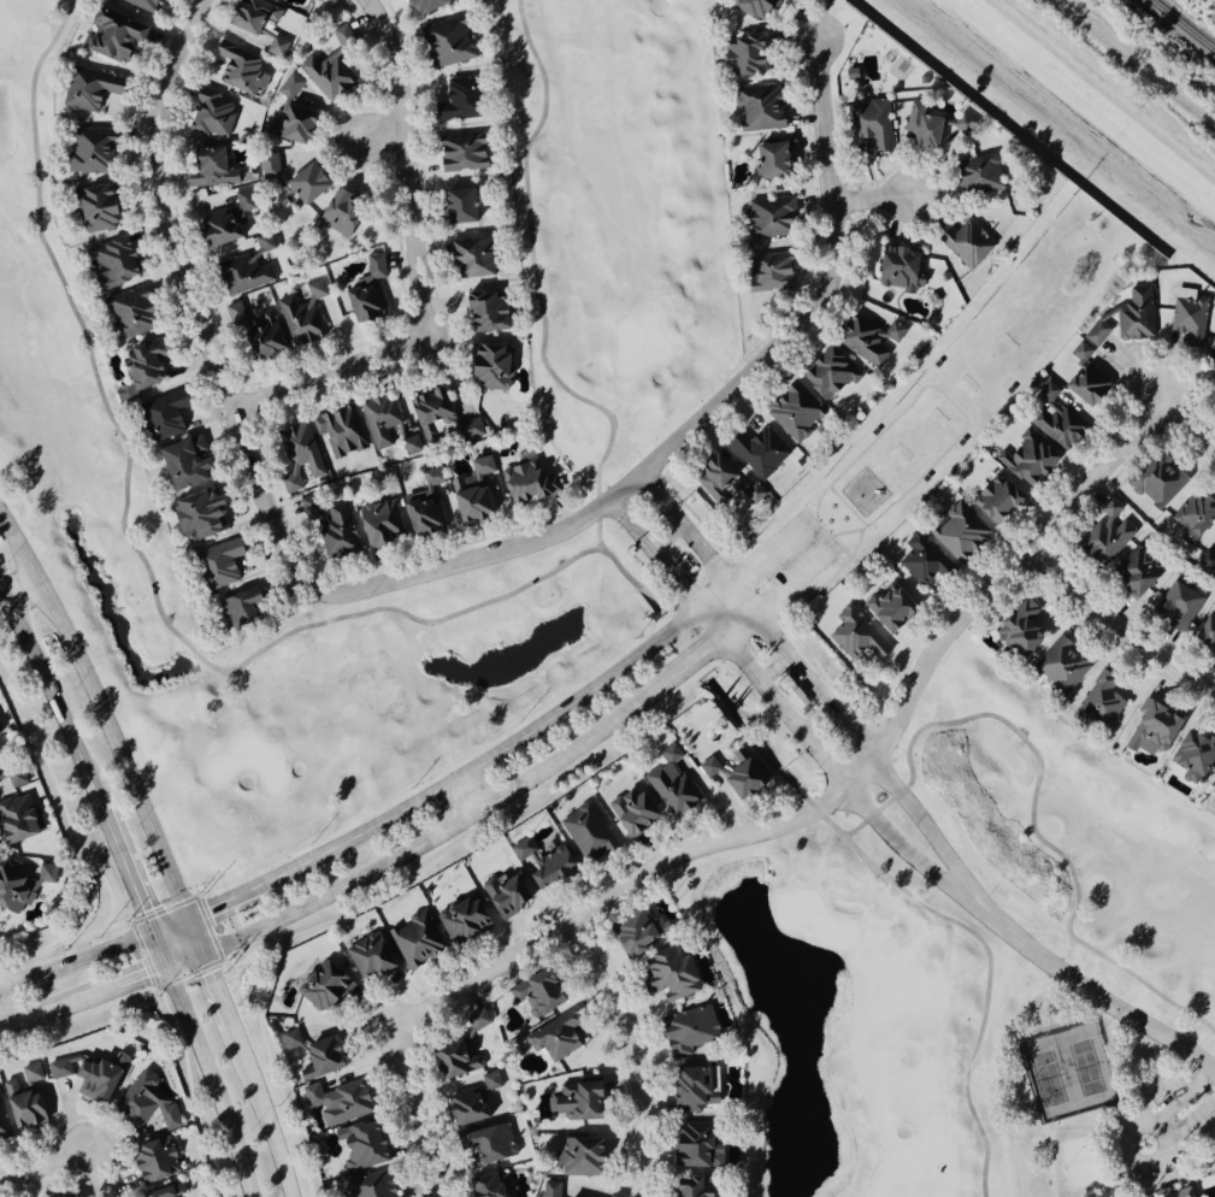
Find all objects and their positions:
building: (270, 0)
building: (137, 4)
building: (421, 6)
building: (749, 7)
building: (249, 19)
railway: (1181, 26)
building: (110, 36)
building: (341, 36)
building: (446, 43)
building: (277, 47)
building: (742, 55)
railway: (1134, 64)
building: (236, 69)
building: (326, 75)
building: (289, 87)
building: (87, 90)
building: (452, 100)
building: (759, 108)
building: (208, 114)
building: (960, 124)
building: (289, 125)
building: (869, 125)
building: (918, 128)
road: (383, 147)
building: (85, 152)
building: (459, 154)
building: (768, 161)
building: (269, 167)
building: (207, 170)
building: (977, 176)
building: (305, 185)
road: (872, 197)
building: (455, 206)
building: (94, 210)
building: (336, 213)
building: (767, 219)
building: (223, 222)
building: (966, 243)
building: (467, 259)
building: (110, 263)
road: (418, 267)
building: (243, 270)
building: (897, 270)
building: (767, 273)
building: (367, 293)
road: (828, 295)
building: (301, 313)
building: (479, 313)
building: (129, 314)
building: (1187, 317)
building: (1121, 318)
building: (253, 330)
park: (1011, 340)
building: (867, 341)
building: (1079, 353)
building: (1210, 361)
building: (937, 362)
building: (486, 367)
building: (138, 368)
building: (825, 372)
building: (1084, 387)
building: (1010, 389)
park: (942, 401)
road: (950, 401)
building: (427, 406)
building: (791, 412)
building: (160, 415)
building: (381, 420)
building: (1056, 425)
road: (1190, 427)
building: (340, 430)
building: (874, 431)
building: (417, 440)
park: (916, 440)
building: (961, 442)
building: (759, 452)
building: (299, 456)
building: (1025, 459)
building: (181, 461)
building: (480, 466)
road: (252, 470)
building: (925, 478)
building: (714, 479)
building: (1155, 480)
building: (521, 482)
building: (467, 500)
road: (661, 500)
building: (995, 500)
road: (816, 502)
building: (423, 505)
road: (847, 506)
building: (195, 514)
road: (807, 515)
building: (378, 523)
road: (808, 523)
building: (330, 524)
road: (630, 525)
road: (863, 527)
building: (1193, 529)
road: (820, 530)
road: (843, 532)
building: (959, 532)
building: (1103, 535)
road: (667, 539)
road: (833, 544)
road: (831, 547)
road: (771, 555)
parking lot: (794, 555)
building: (922, 560)
building: (216, 564)
building: (1134, 572)
road: (838, 574)
road: (631, 578)
road: (791, 579)
road: (23, 588)
road: (738, 589)
building: (886, 606)
building: (237, 607)
building: (1176, 607)
road: (704, 617)
road: (343, 619)
road: (738, 623)
building: (1016, 630)
road: (1117, 632)
building: (854, 635)
building: (1205, 635)
park: (611, 637)
road: (695, 659)
building: (1060, 666)
road: (775, 667)
road: (816, 685)
road: (720, 690)
road: (767, 690)
building: (789, 692)
road: (51, 697)
building: (1099, 702)
road: (102, 715)
road: (814, 717)
road: (759, 726)
building: (1150, 730)
road: (747, 736)
road: (515, 739)
building: (1190, 756)
road: (909, 757)
building: (730, 774)
building: (670, 783)
road: (842, 789)
building: (1213, 792)
road: (461, 797)
road: (812, 798)
road: (866, 803)
road: (908, 803)
building: (630, 812)
building: (17, 819)
road: (443, 831)
building: (586, 833)
building: (541, 862)
building: (22, 883)
road: (132, 890)
building: (503, 896)
road: (238, 898)
traffic signals: (141, 909)
traffic signals: (208, 914)
building: (461, 920)
road: (172, 927)
building: (629, 934)
building: (415, 938)
building: (367, 959)
road: (76, 960)
traffic signals: (212, 972)
traffic signals: (143, 978)
road: (136, 980)
road: (214, 981)
building: (322, 986)
road: (1087, 990)
building: (533, 992)
road: (34, 1016)
building: (688, 1030)
building: (553, 1038)
road: (636, 1052)
building: (308, 1055)
building: (452, 1060)
park: (1068, 1073)
building: (87, 1075)
road: (213, 1081)
building: (689, 1089)
road: (1185, 1096)
building: (20, 1097)
building: (468, 1101)
building: (576, 1101)
building: (336, 1102)
building: (143, 1103)
park: (1101, 1105)
road: (417, 1116)
road: (1192, 1118)
road: (264, 1119)
road: (1107, 1122)
road: (1136, 1124)
road: (1050, 1125)
road: (1128, 1125)
road: (1069, 1126)
building: (2, 1127)
building: (486, 1143)
building: (358, 1145)
building: (692, 1146)
building: (576, 1156)
building: (152, 1160)
road: (1046, 1162)
park: (1081, 1162)
road: (45, 1167)
road: (98, 1175)
building: (368, 1185)
building: (689, 1186)
building: (550, 1189)
building: (155, 1192)
building: (1169, 1192)
building: (63, 1196)

